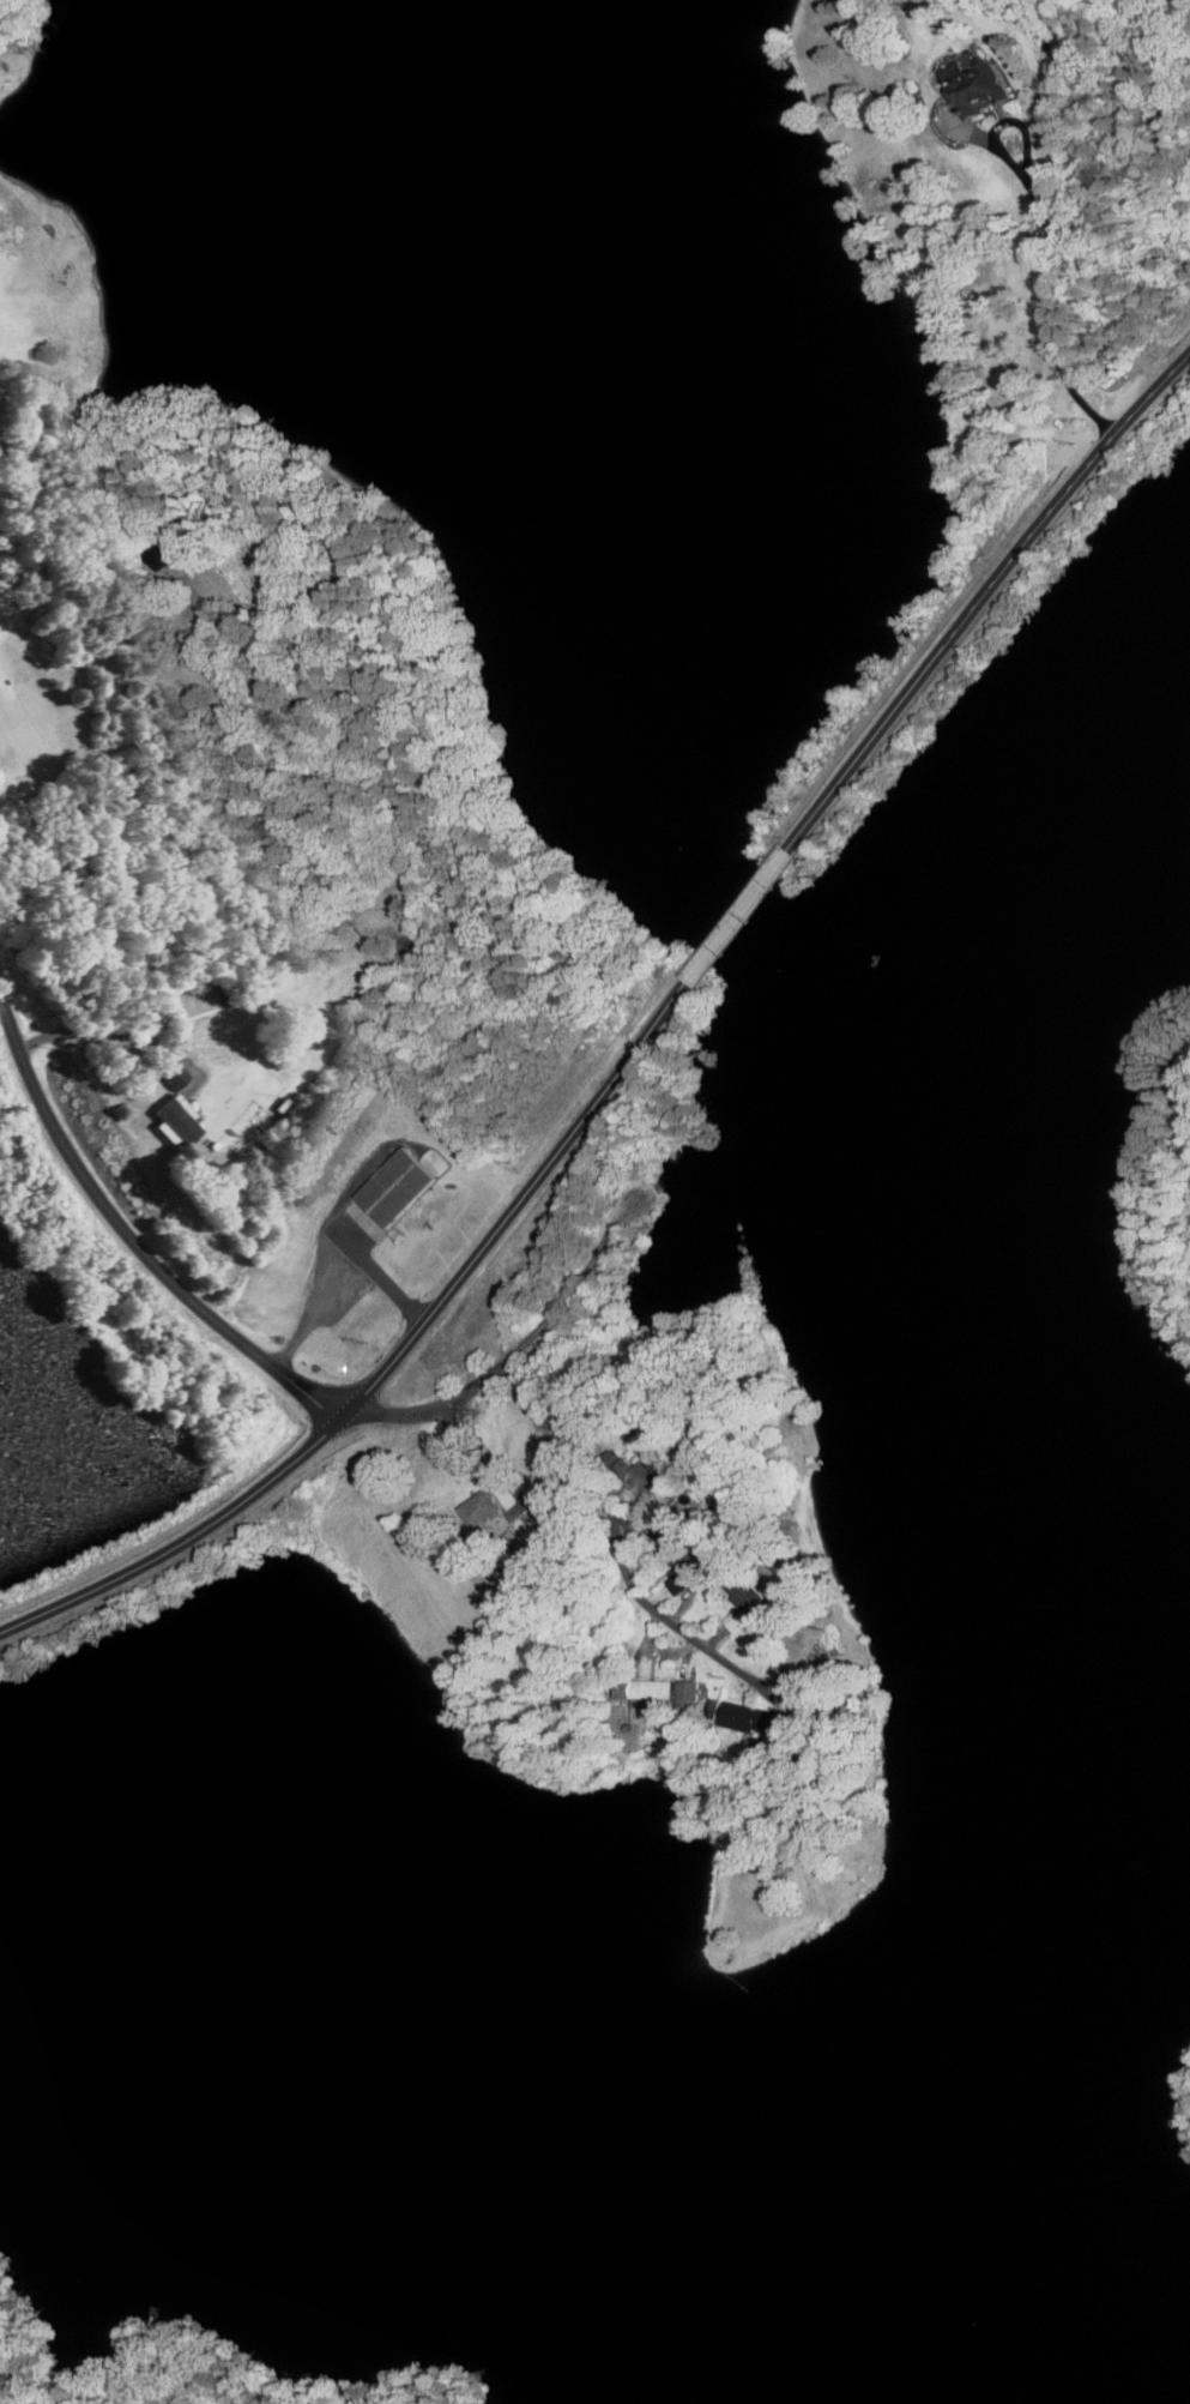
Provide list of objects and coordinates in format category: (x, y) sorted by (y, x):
building: (978, 82)
road: (1049, 243)
building: (167, 555)
road: (983, 598)
road: (733, 917)
building: (195, 1001)
road: (116, 1034)
building: (174, 1076)
building: (177, 1120)
building: (401, 1183)
road: (134, 1241)
road: (342, 1287)
road: (389, 1364)
road: (497, 1468)
building: (654, 1474)
road: (593, 1477)
building: (483, 1508)
building: (693, 1573)
building: (748, 1595)
building: (653, 1689)
building: (755, 1718)

